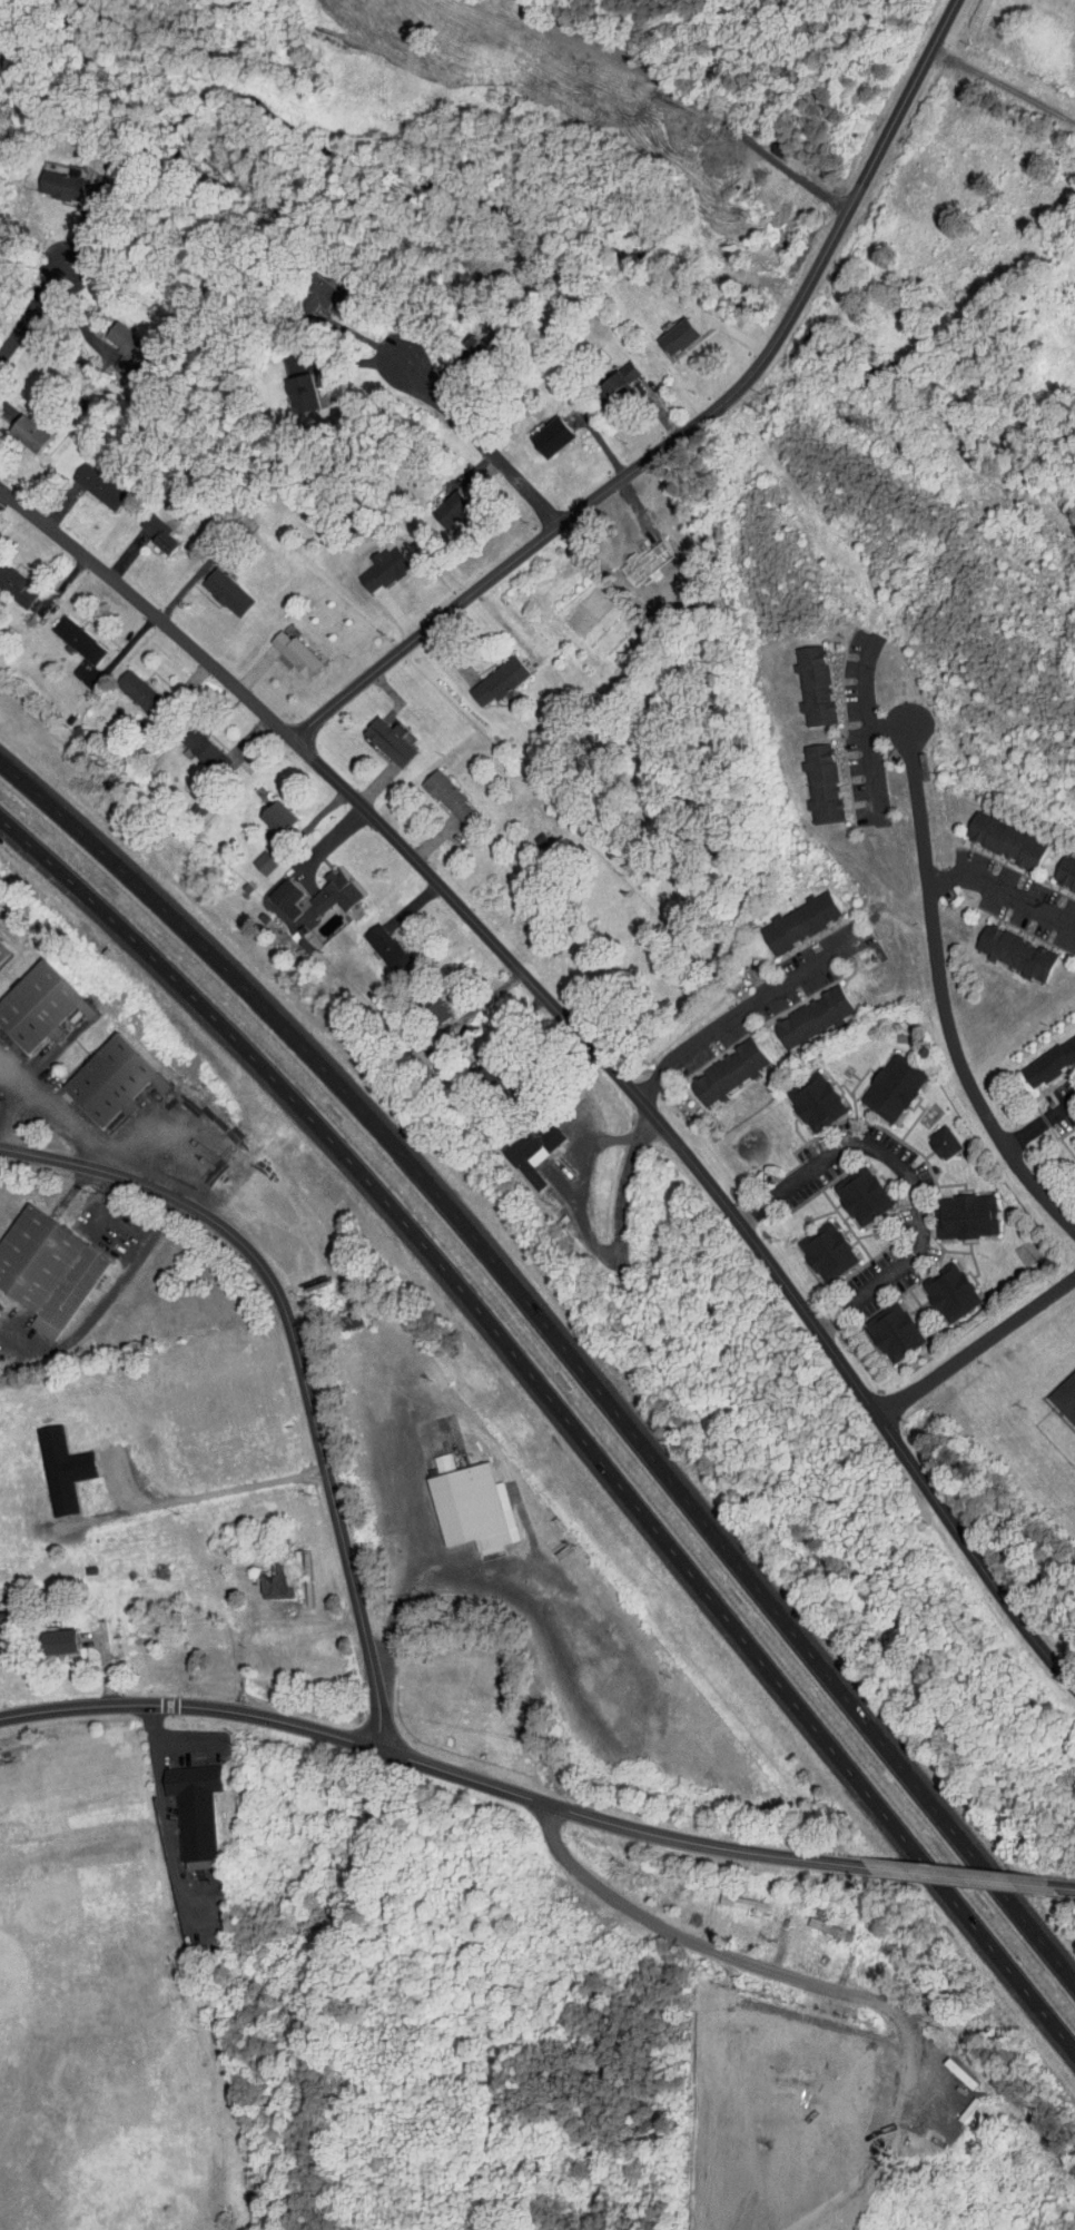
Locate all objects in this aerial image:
road: (1002, 83)
road: (671, 88)
building: (46, 177)
building: (302, 288)
road: (36, 306)
building: (662, 329)
building: (109, 332)
building: (601, 374)
building: (286, 386)
road: (445, 410)
road: (689, 425)
building: (13, 426)
building: (534, 431)
building: (81, 478)
building: (434, 503)
building: (142, 526)
building: (7, 583)
building: (210, 585)
building: (62, 633)
building: (279, 647)
building: (483, 674)
building: (797, 678)
building: (121, 683)
road: (885, 729)
building: (373, 734)
road: (862, 734)
building: (190, 744)
building: (805, 777)
building: (432, 789)
building: (260, 810)
building: (988, 833)
building: (249, 856)
building: (1057, 869)
building: (319, 885)
building: (277, 898)
road: (999, 902)
building: (783, 915)
building: (371, 939)
building: (998, 944)
building: (28, 998)
road: (936, 1000)
building: (422, 1001)
road: (733, 1003)
building: (797, 1009)
road: (589, 1039)
building: (1042, 1050)
building: (712, 1065)
building: (95, 1073)
building: (877, 1079)
building: (799, 1094)
road: (59, 1107)
road: (10, 1114)
road: (1039, 1121)
building: (927, 1134)
building: (1071, 1136)
building: (517, 1142)
road: (41, 1155)
road: (937, 1182)
building: (846, 1187)
road: (101, 1198)
building: (949, 1208)
building: (811, 1244)
road: (596, 1250)
building: (37, 1264)
building: (934, 1284)
road: (108, 1295)
building: (877, 1324)
road: (975, 1342)
road: (565, 1346)
building: (1059, 1393)
road: (310, 1402)
road: (561, 1412)
building: (427, 1453)
building: (47, 1461)
road: (215, 1484)
building: (456, 1501)
building: (258, 1573)
road: (401, 1586)
road: (258, 1625)
building: (40, 1634)
road: (186, 1746)
road: (443, 1769)
building: (179, 1803)
road: (162, 1804)
road: (963, 1882)
road: (1058, 1892)
building: (729, 1895)
building: (817, 1924)
road: (809, 1975)
building: (844, 2075)
road: (879, 2141)

